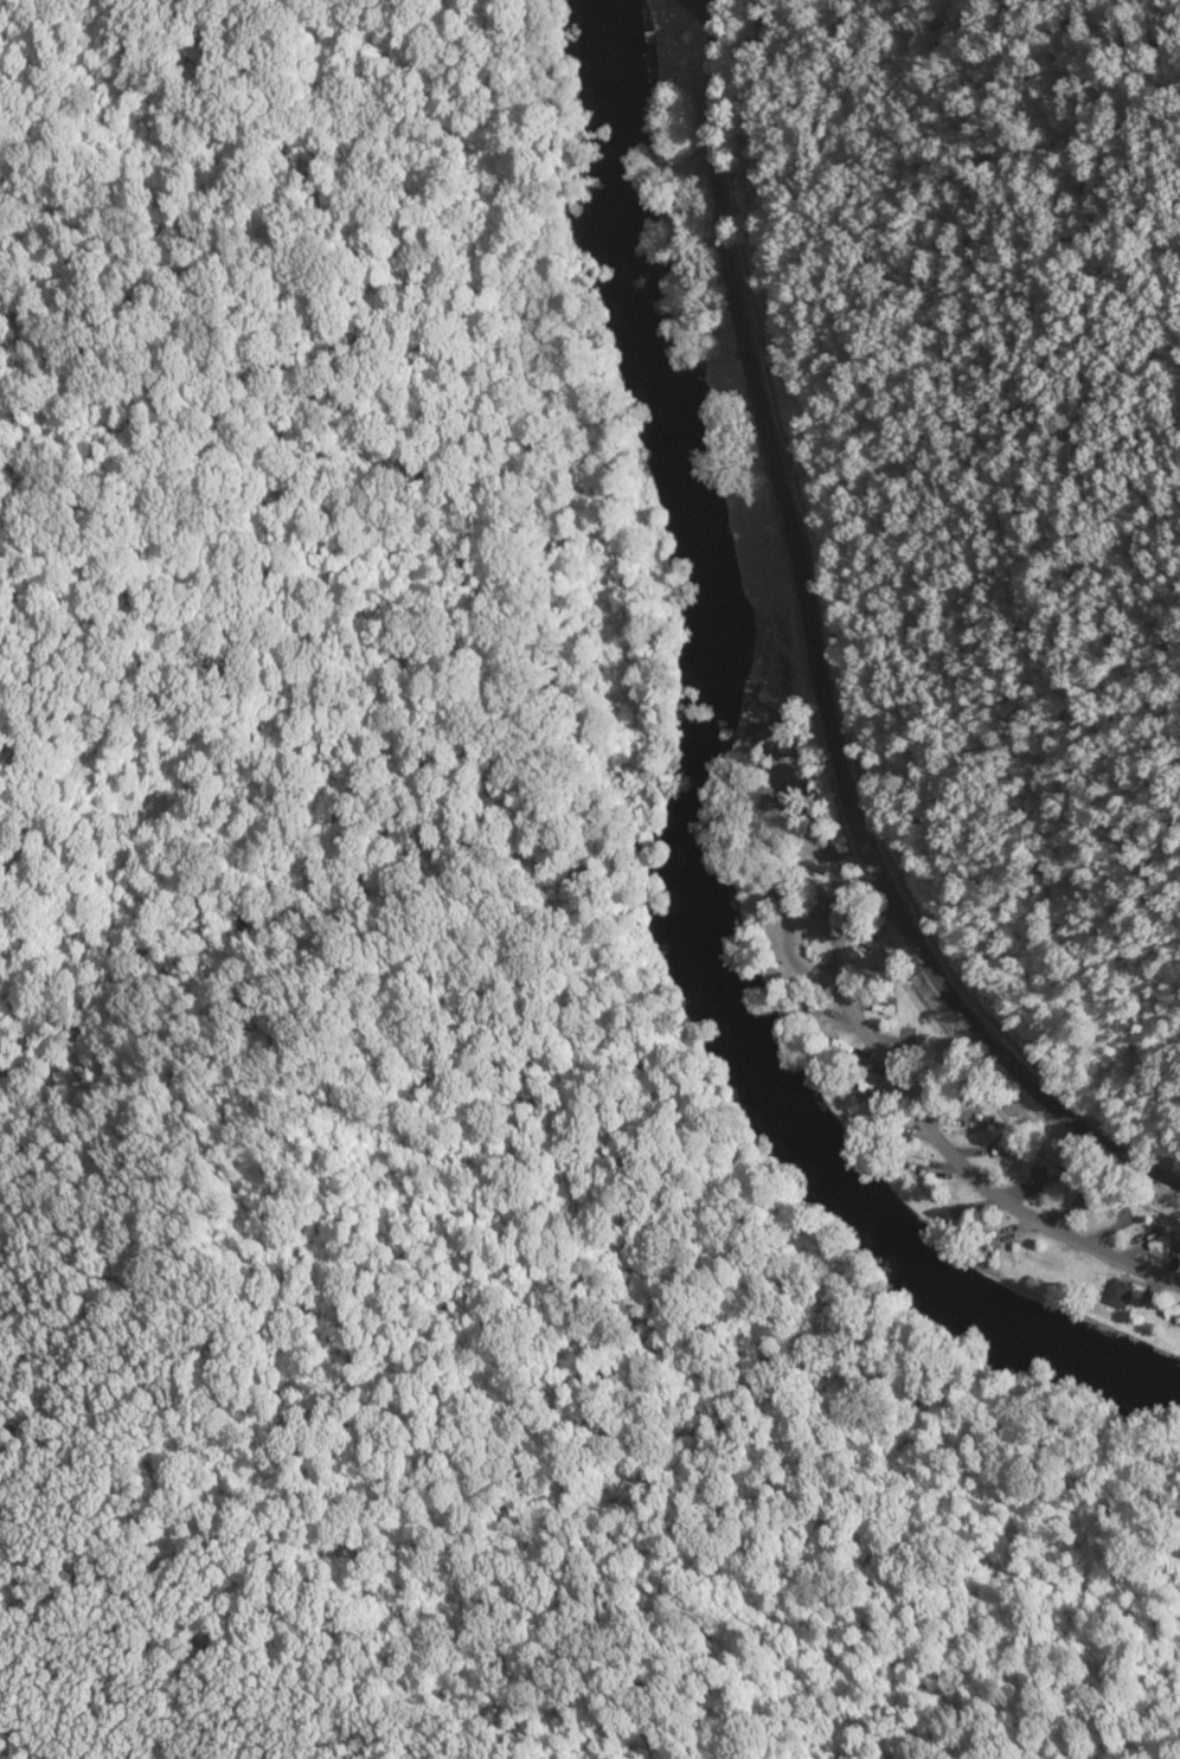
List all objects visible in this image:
road: (704, 6)
road: (814, 661)
river: (681, 807)
road: (958, 1157)

